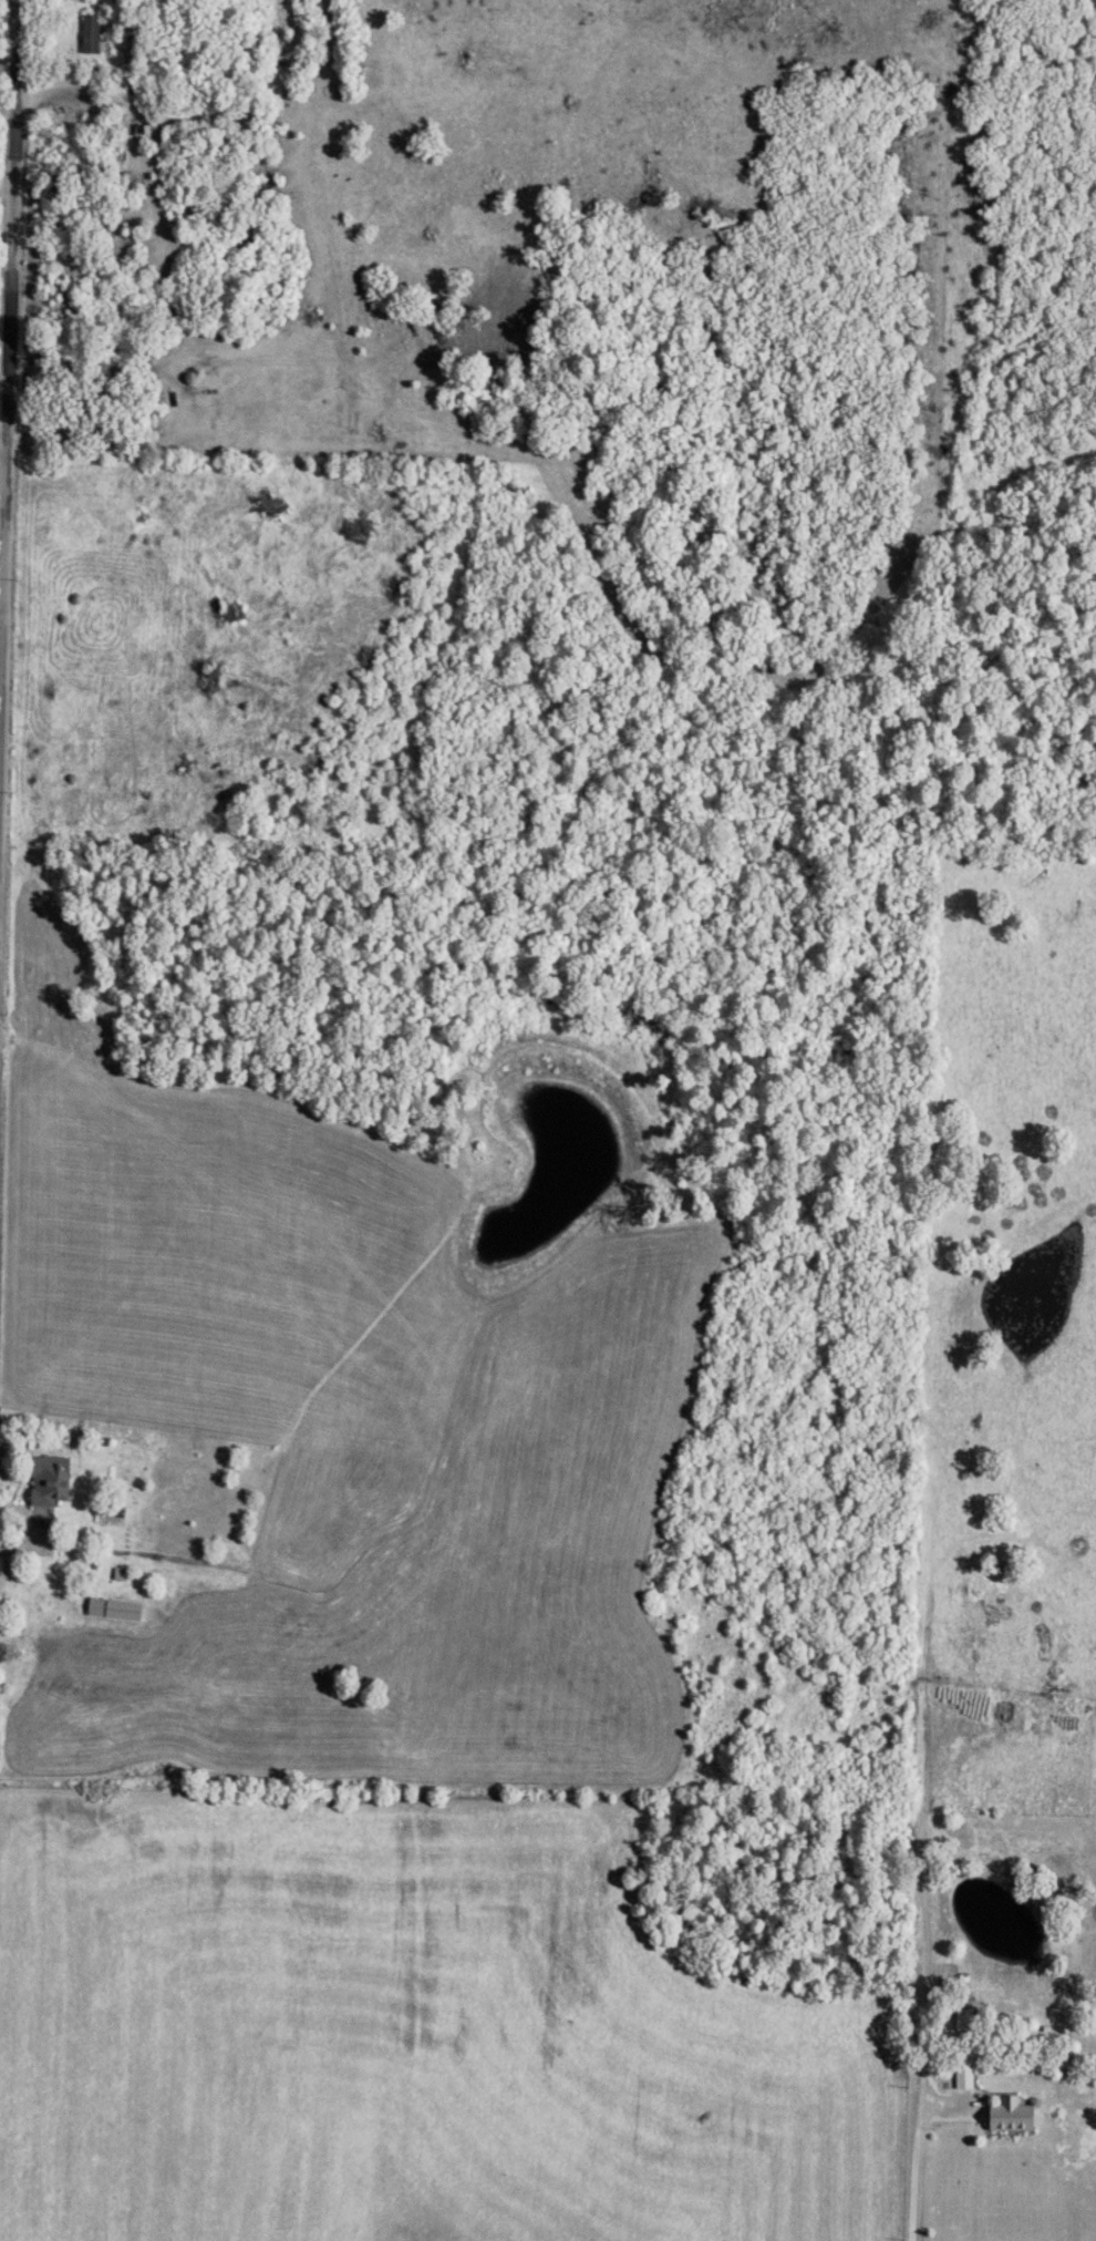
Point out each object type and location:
road: (12, 52)
road: (10, 446)
building: (45, 1482)
building: (87, 1604)
building: (944, 1977)
building: (961, 2022)
building: (962, 2068)
building: (1006, 2118)
road: (914, 2152)

